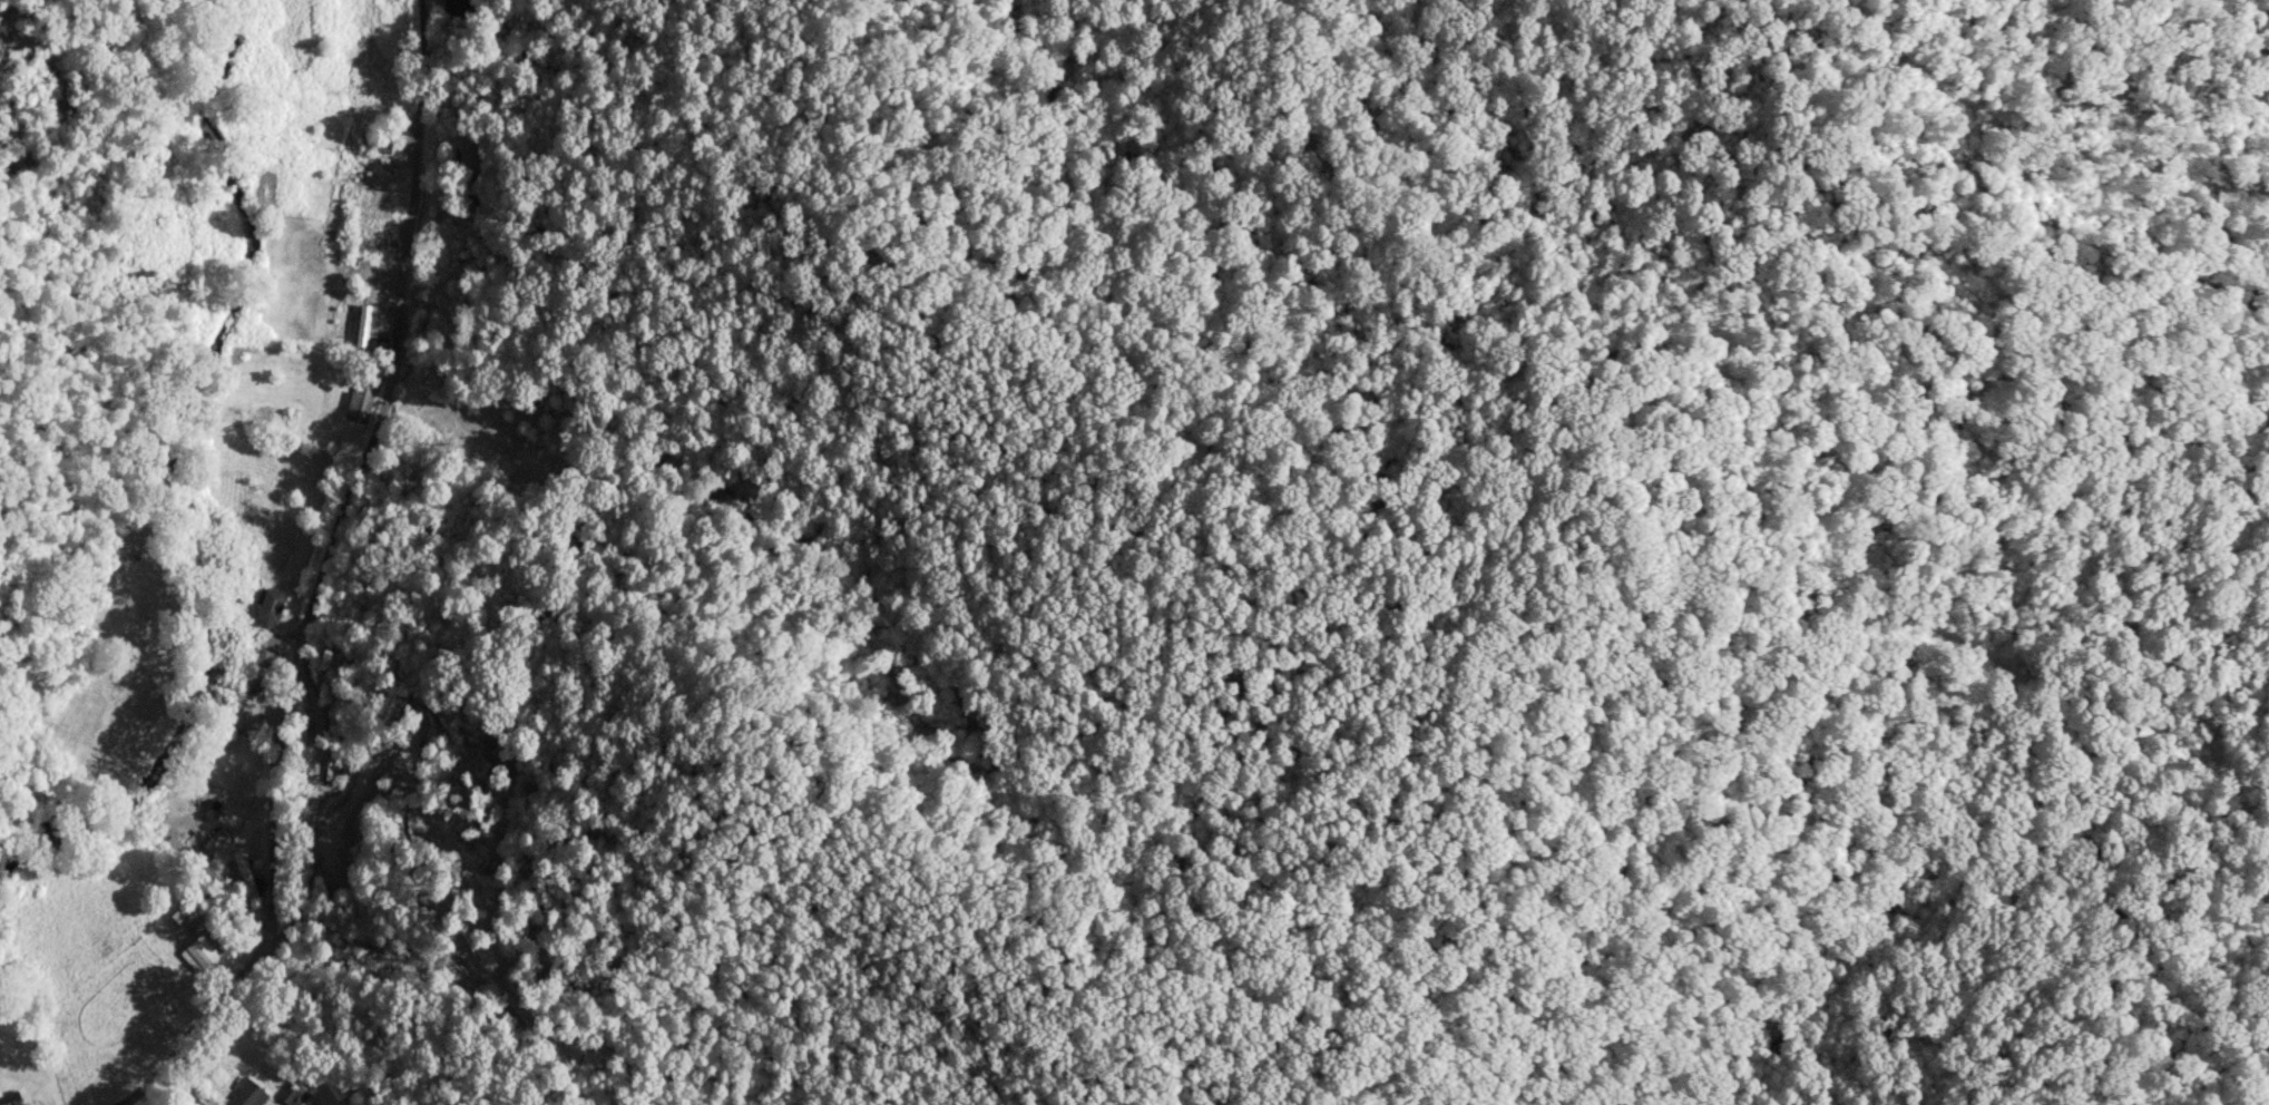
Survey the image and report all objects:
building: (459, 7)
building: (468, 154)
building: (364, 327)
building: (359, 403)
road: (313, 579)
building: (270, 607)
building: (264, 659)
building: (243, 878)
building: (183, 915)
building: (201, 950)
building: (293, 1093)
building: (246, 1094)
building: (8, 1097)

